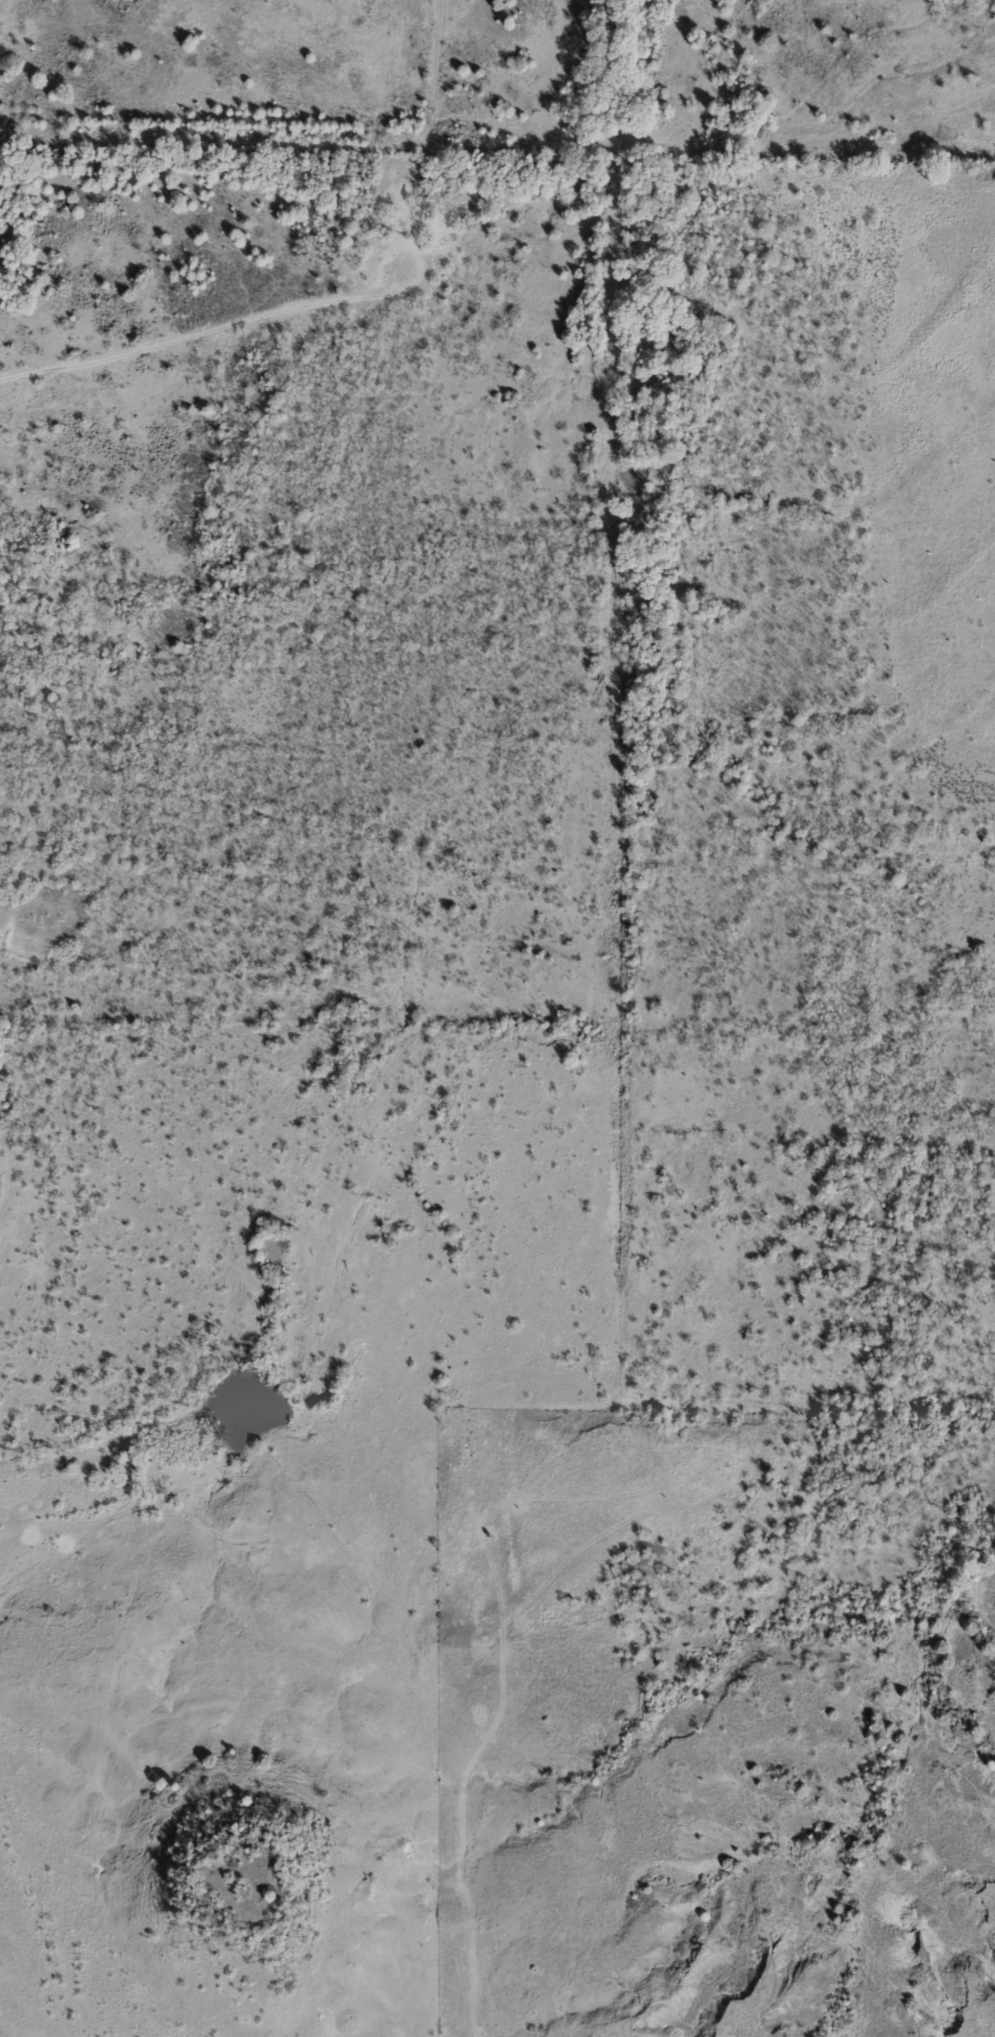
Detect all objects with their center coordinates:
road: (711, 141)
road: (327, 298)
road: (16, 923)

